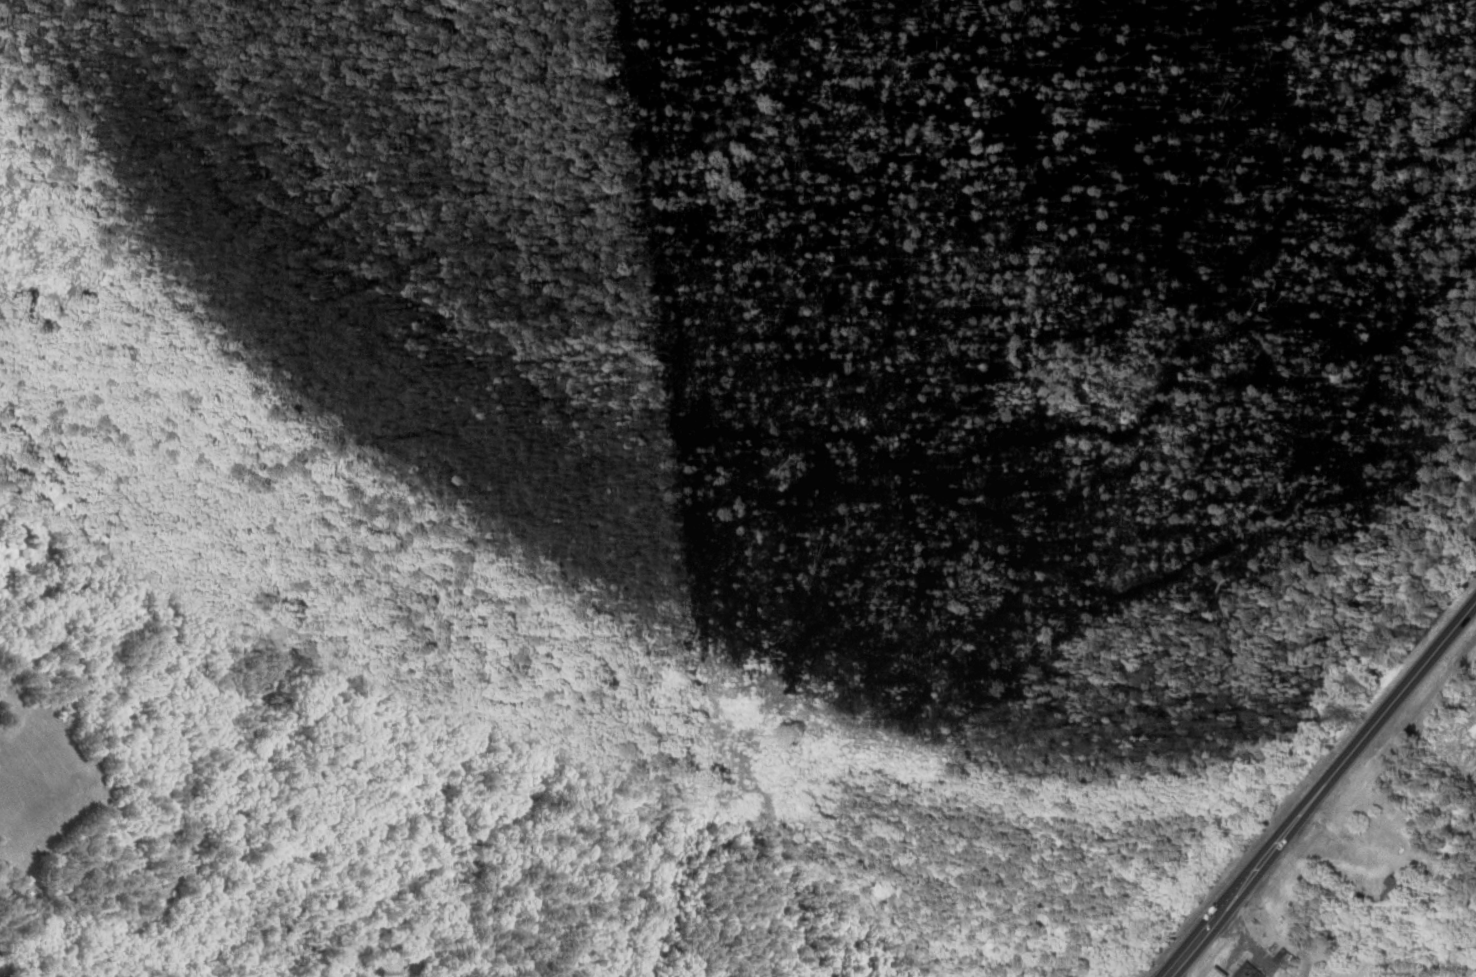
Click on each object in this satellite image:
road: (1321, 789)
building: (1396, 881)
building: (1280, 959)
building: (1210, 973)

